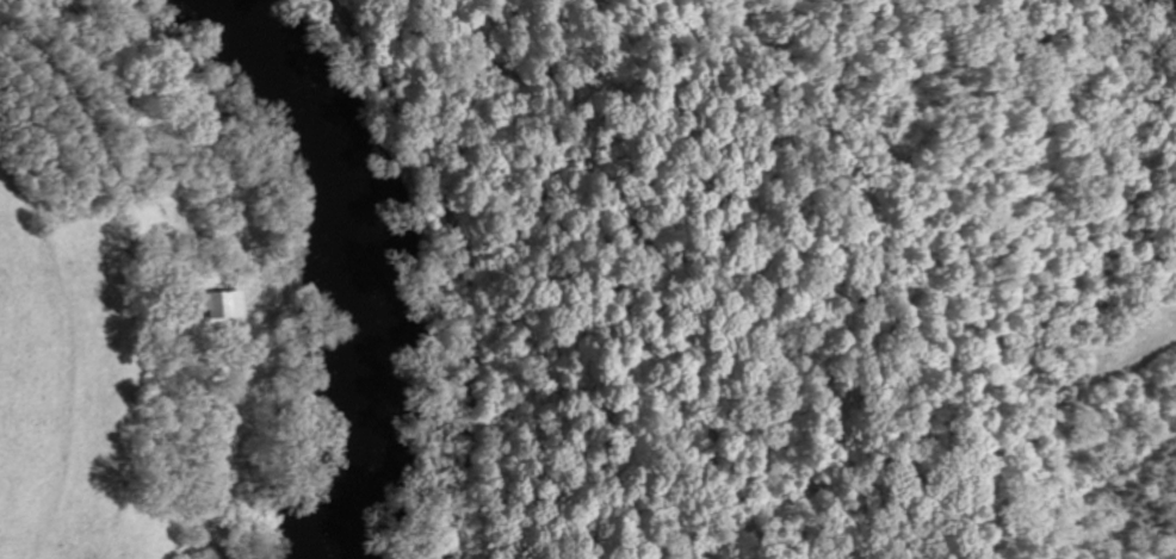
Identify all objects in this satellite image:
road: (70, 26)
river: (375, 271)
building: (219, 303)

